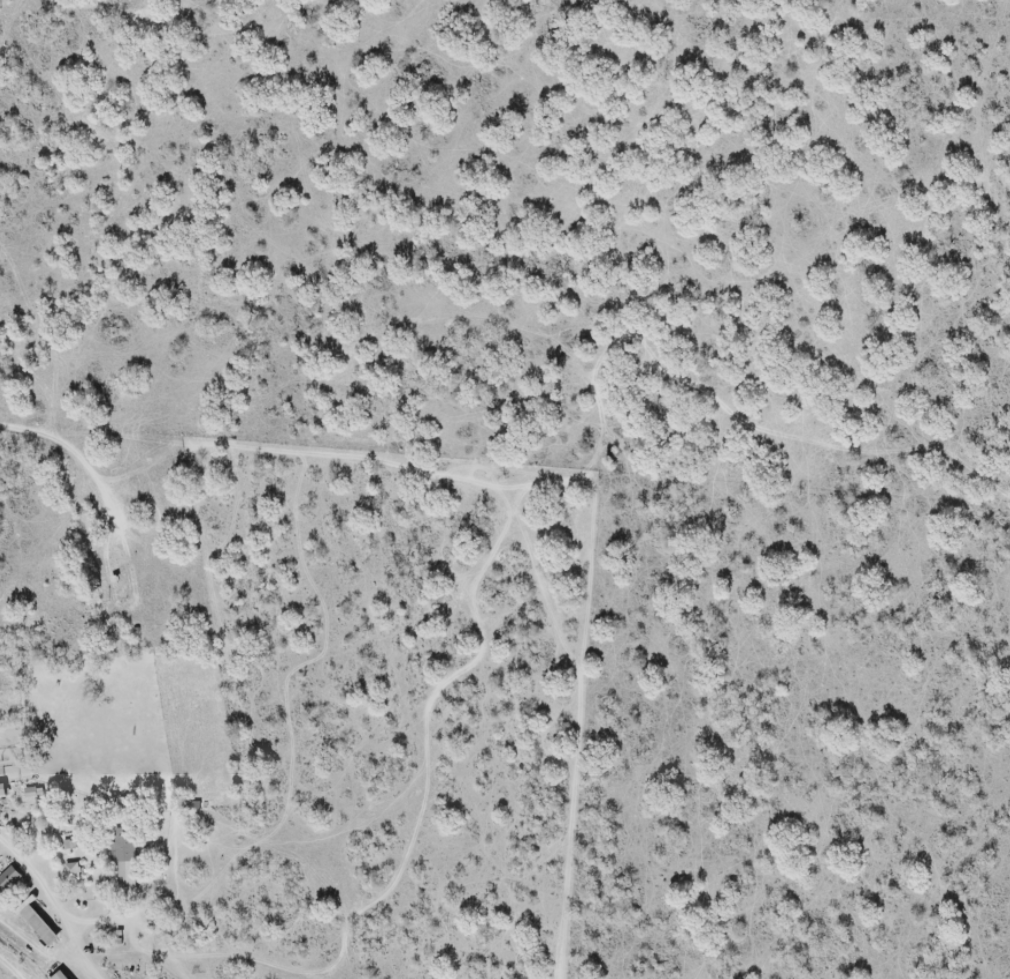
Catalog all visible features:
road: (74, 455)
building: (122, 571)
building: (2, 790)
building: (126, 857)
building: (74, 871)
building: (10, 879)
road: (54, 905)
building: (38, 923)
road: (36, 948)
building: (60, 975)

